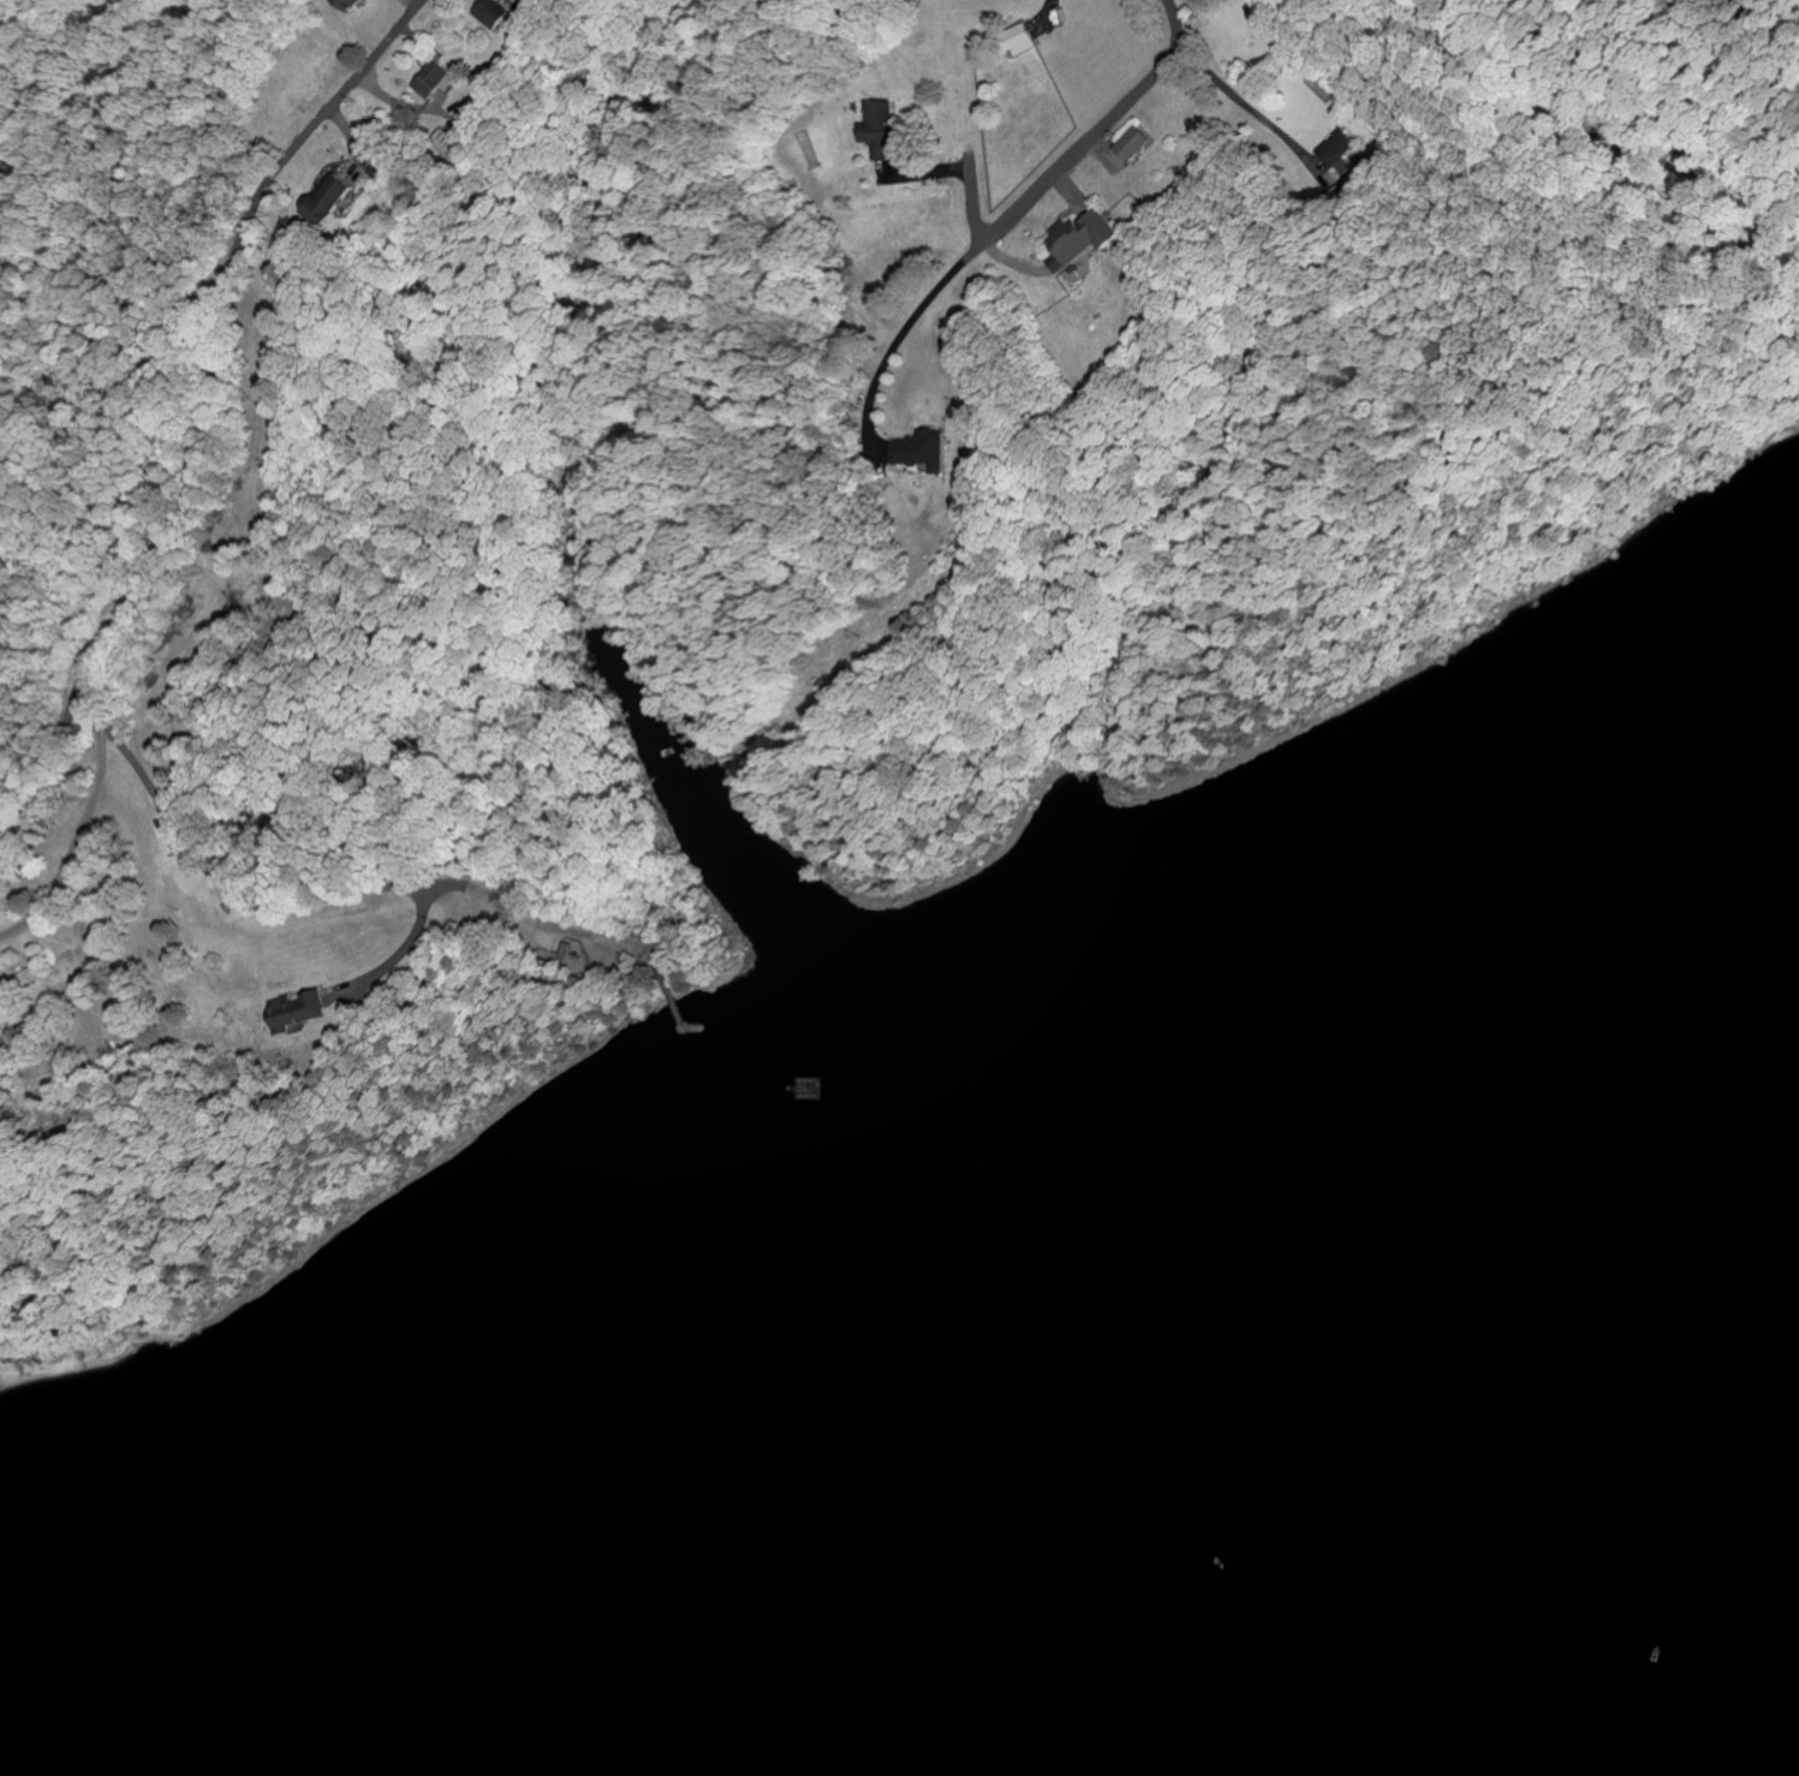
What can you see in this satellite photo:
building: (352, 4)
building: (496, 12)
building: (1023, 38)
building: (439, 79)
building: (886, 129)
building: (452, 142)
building: (1137, 142)
building: (1346, 151)
road: (1072, 156)
building: (336, 198)
building: (1084, 239)
road: (900, 336)
building: (928, 449)
road: (162, 538)
road: (76, 841)
building: (302, 1009)

